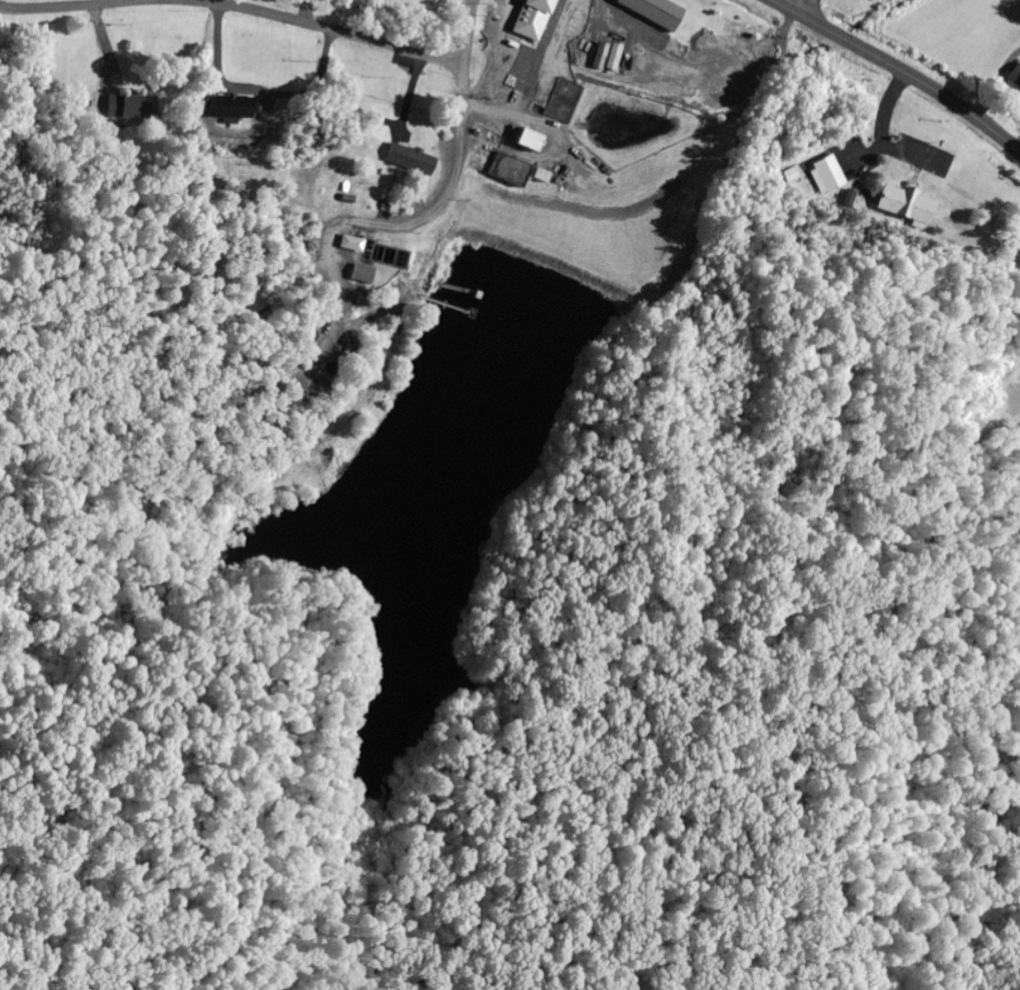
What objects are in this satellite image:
road: (801, 6)
road: (235, 7)
building: (650, 12)
building: (562, 39)
road: (901, 70)
building: (1014, 77)
building: (560, 101)
building: (123, 108)
building: (228, 108)
building: (526, 145)
road: (459, 154)
building: (401, 161)
building: (512, 173)
building: (901, 206)
building: (346, 245)

